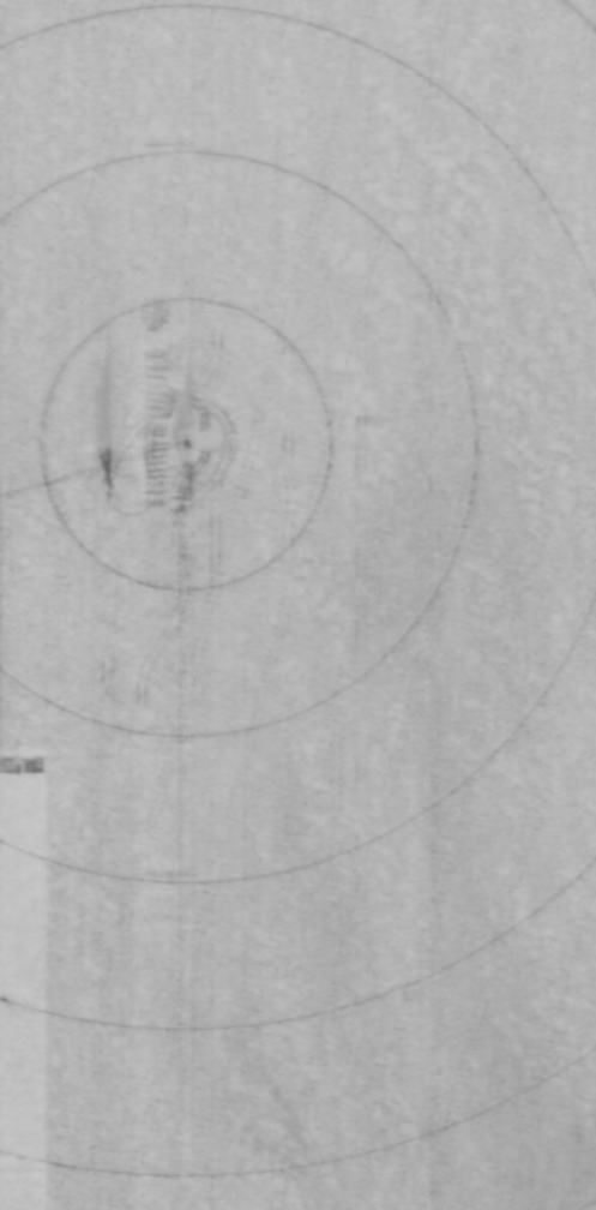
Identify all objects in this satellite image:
crop: (297, 605)

